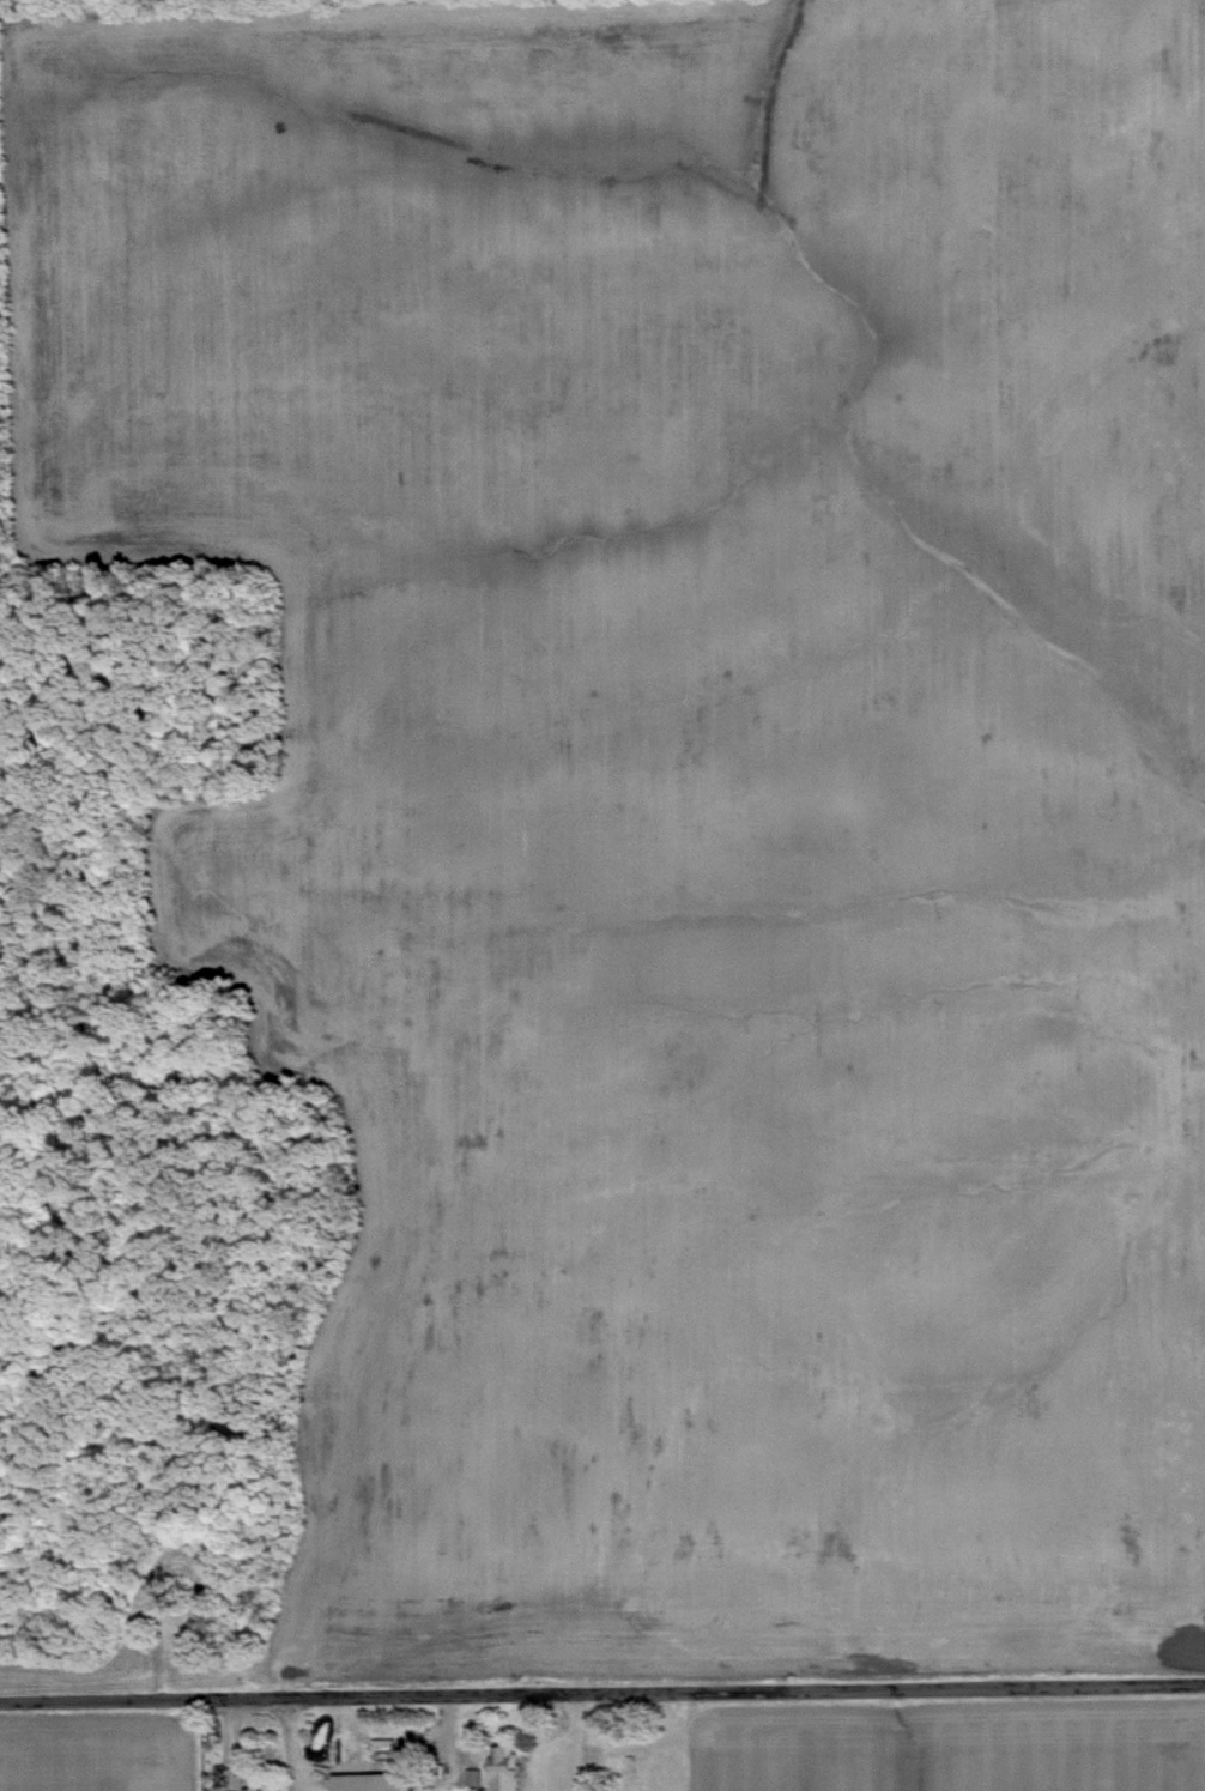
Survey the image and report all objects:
road: (601, 1693)
road: (575, 1742)
road: (291, 1745)
road: (225, 1747)
building: (587, 1751)
building: (501, 1768)
building: (370, 1781)
building: (235, 1790)

